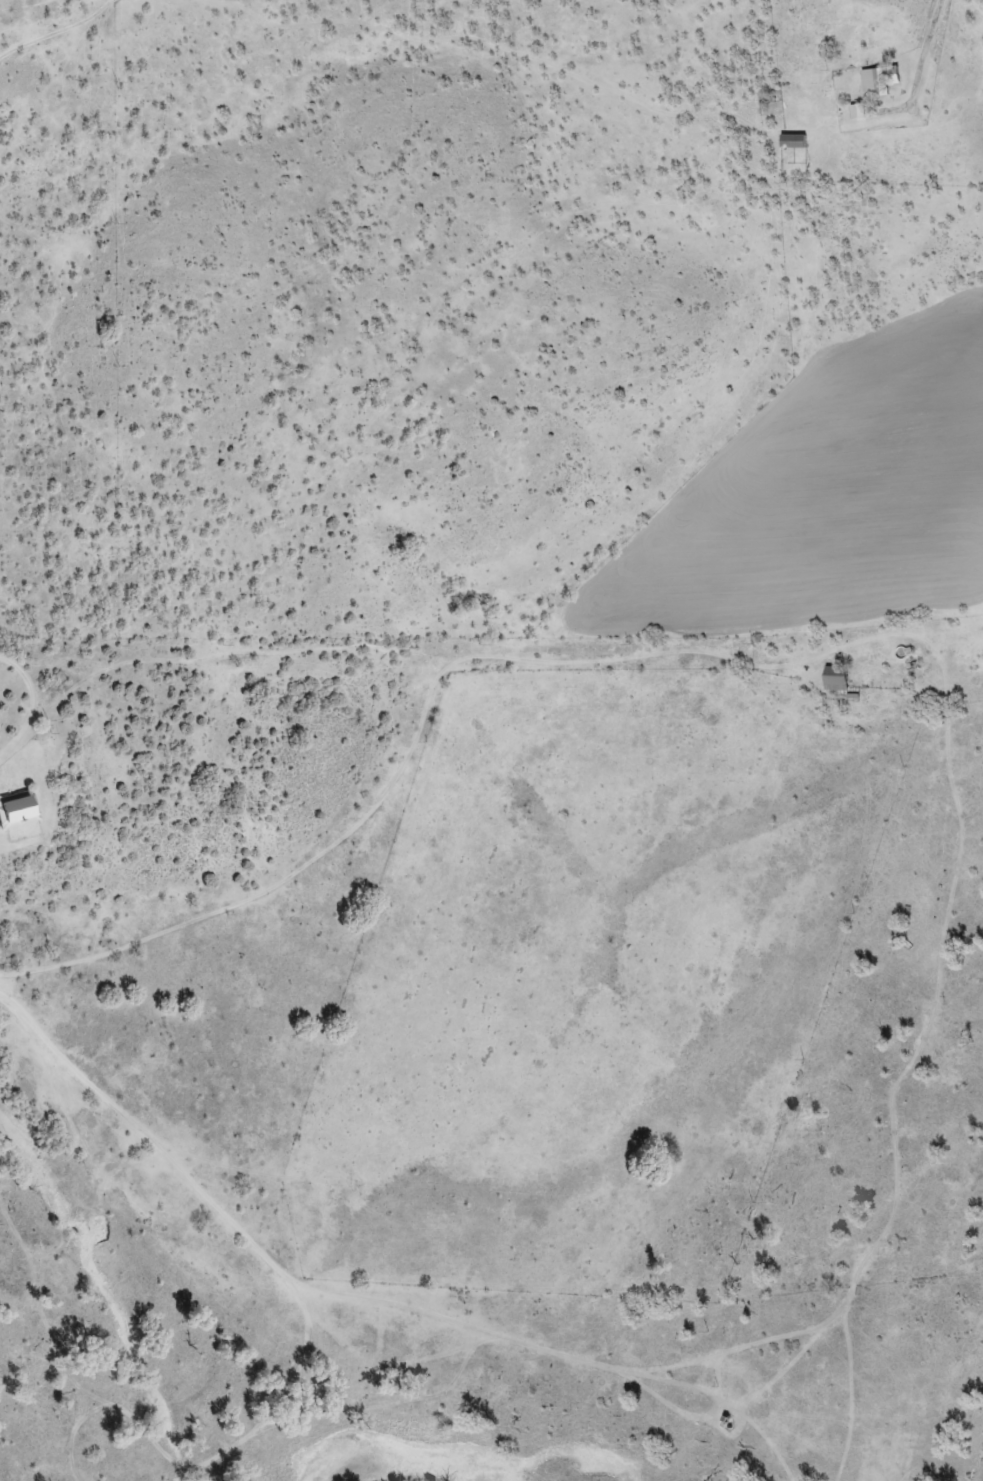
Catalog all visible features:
building: (880, 78)
building: (793, 140)
building: (836, 676)
building: (16, 808)
road: (74, 1077)

